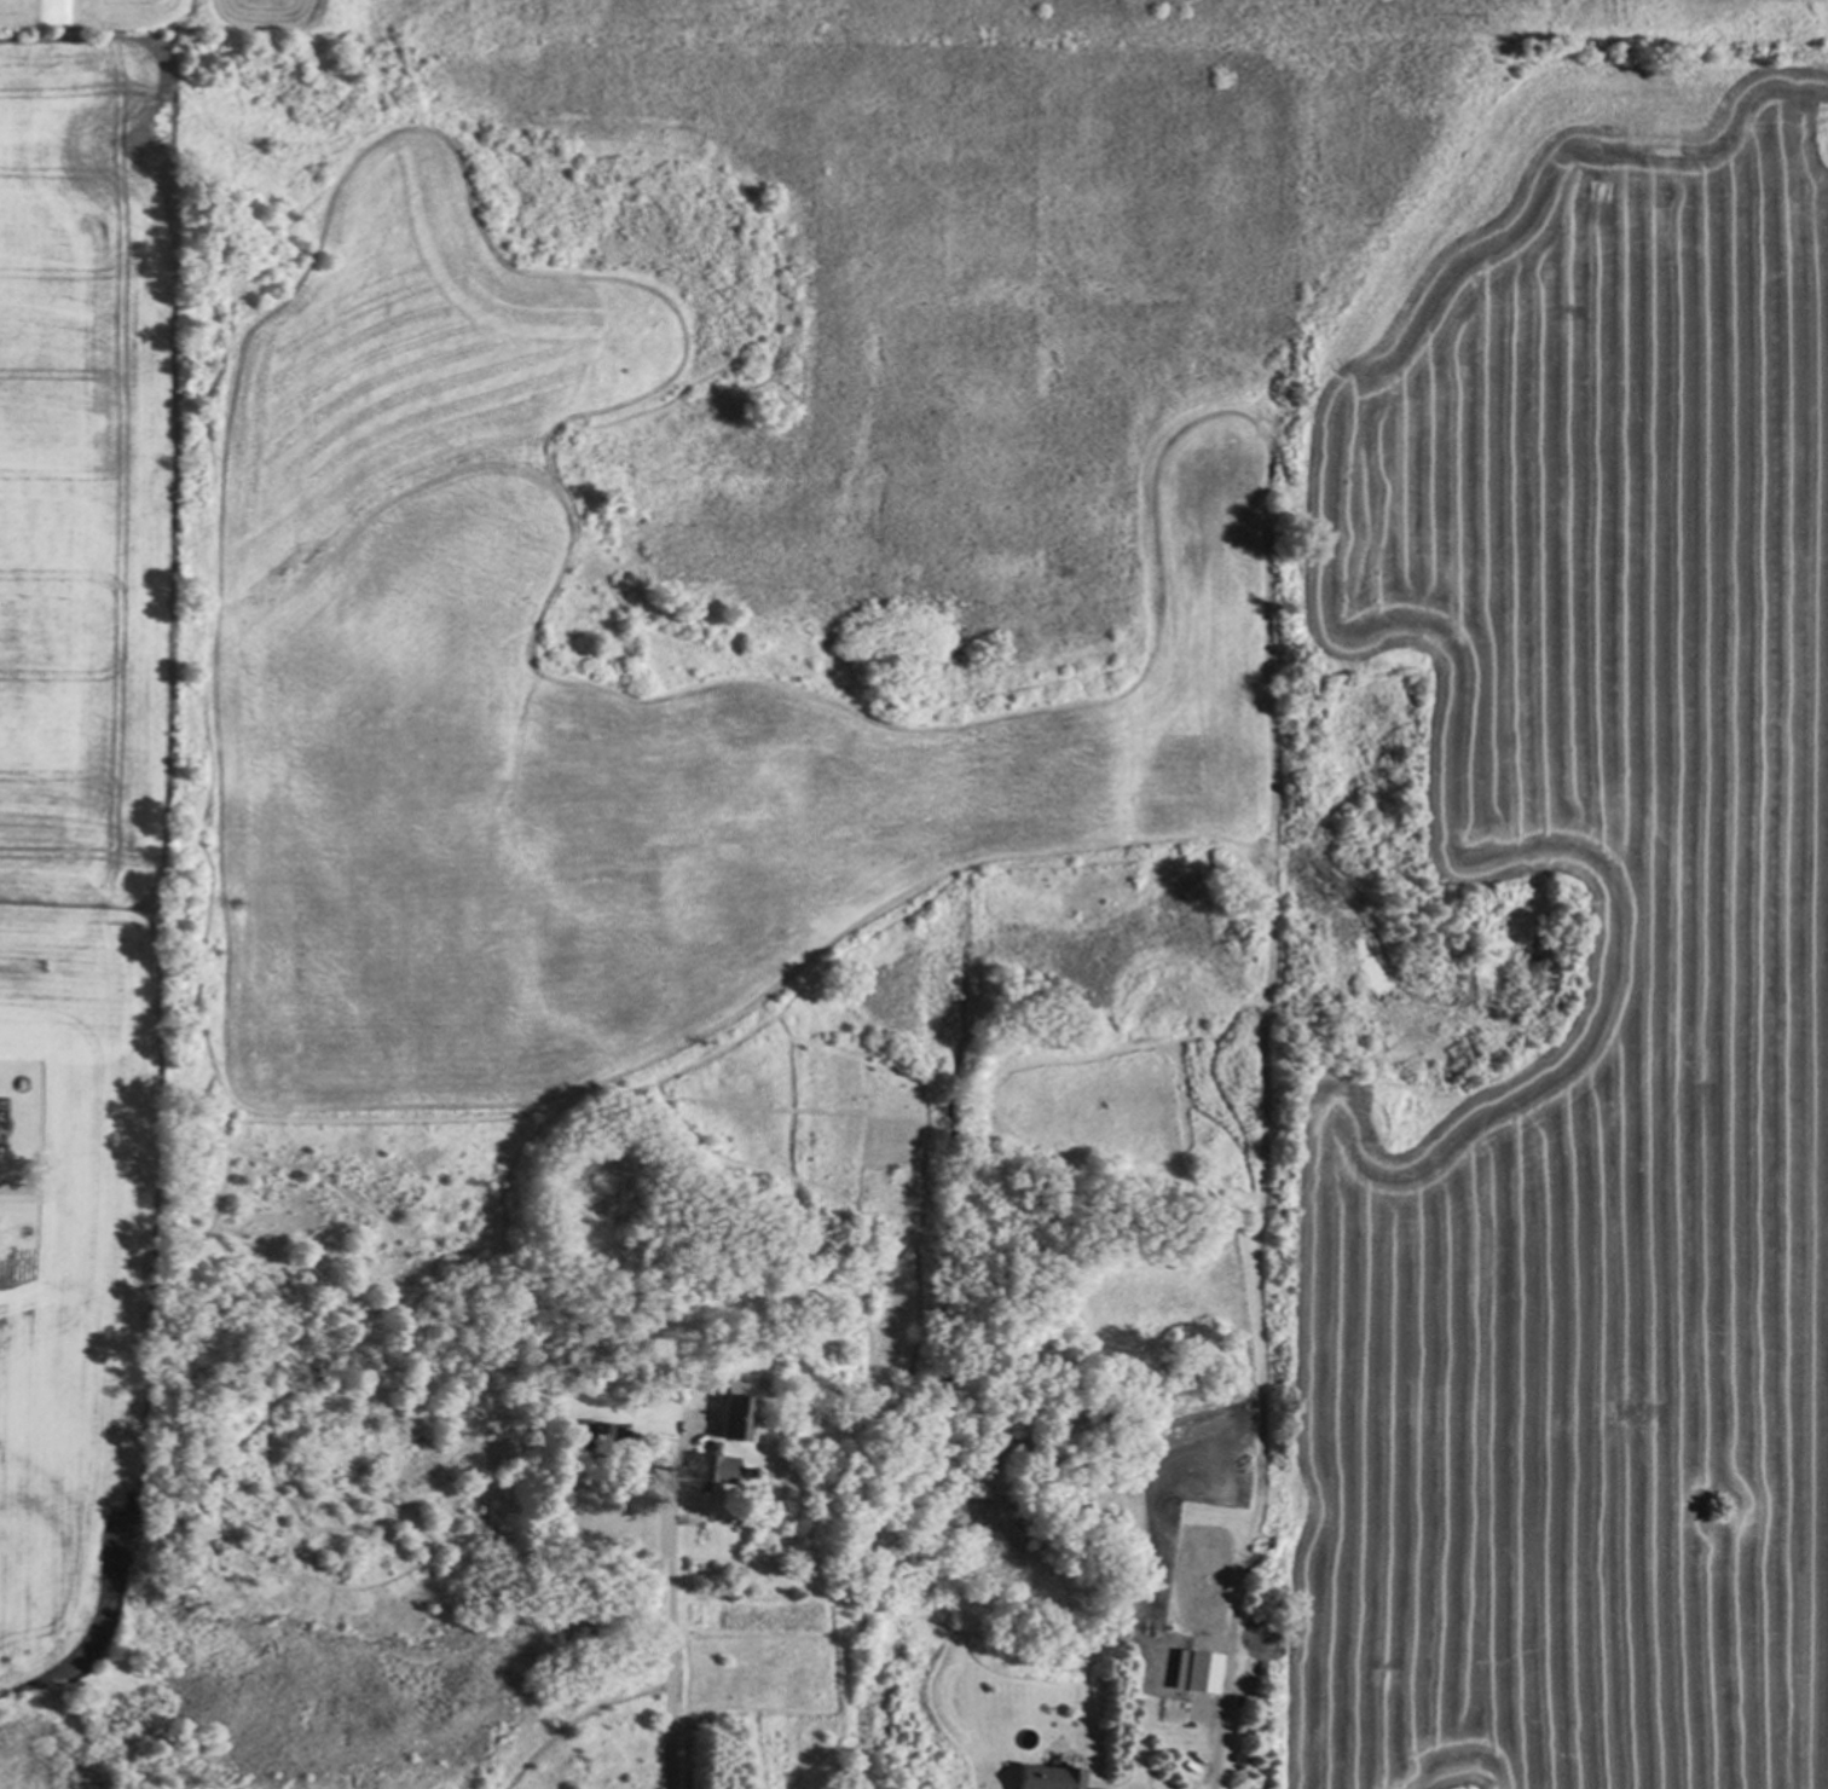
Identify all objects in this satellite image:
power tower: (1540, 5)
crop: (94, 757)
crop: (1589, 966)
building: (15, 1191)
building: (733, 1413)
building: (609, 1430)
building: (712, 1466)
road: (673, 1619)
building: (1196, 1669)
road: (1216, 1774)
building: (1048, 1777)

